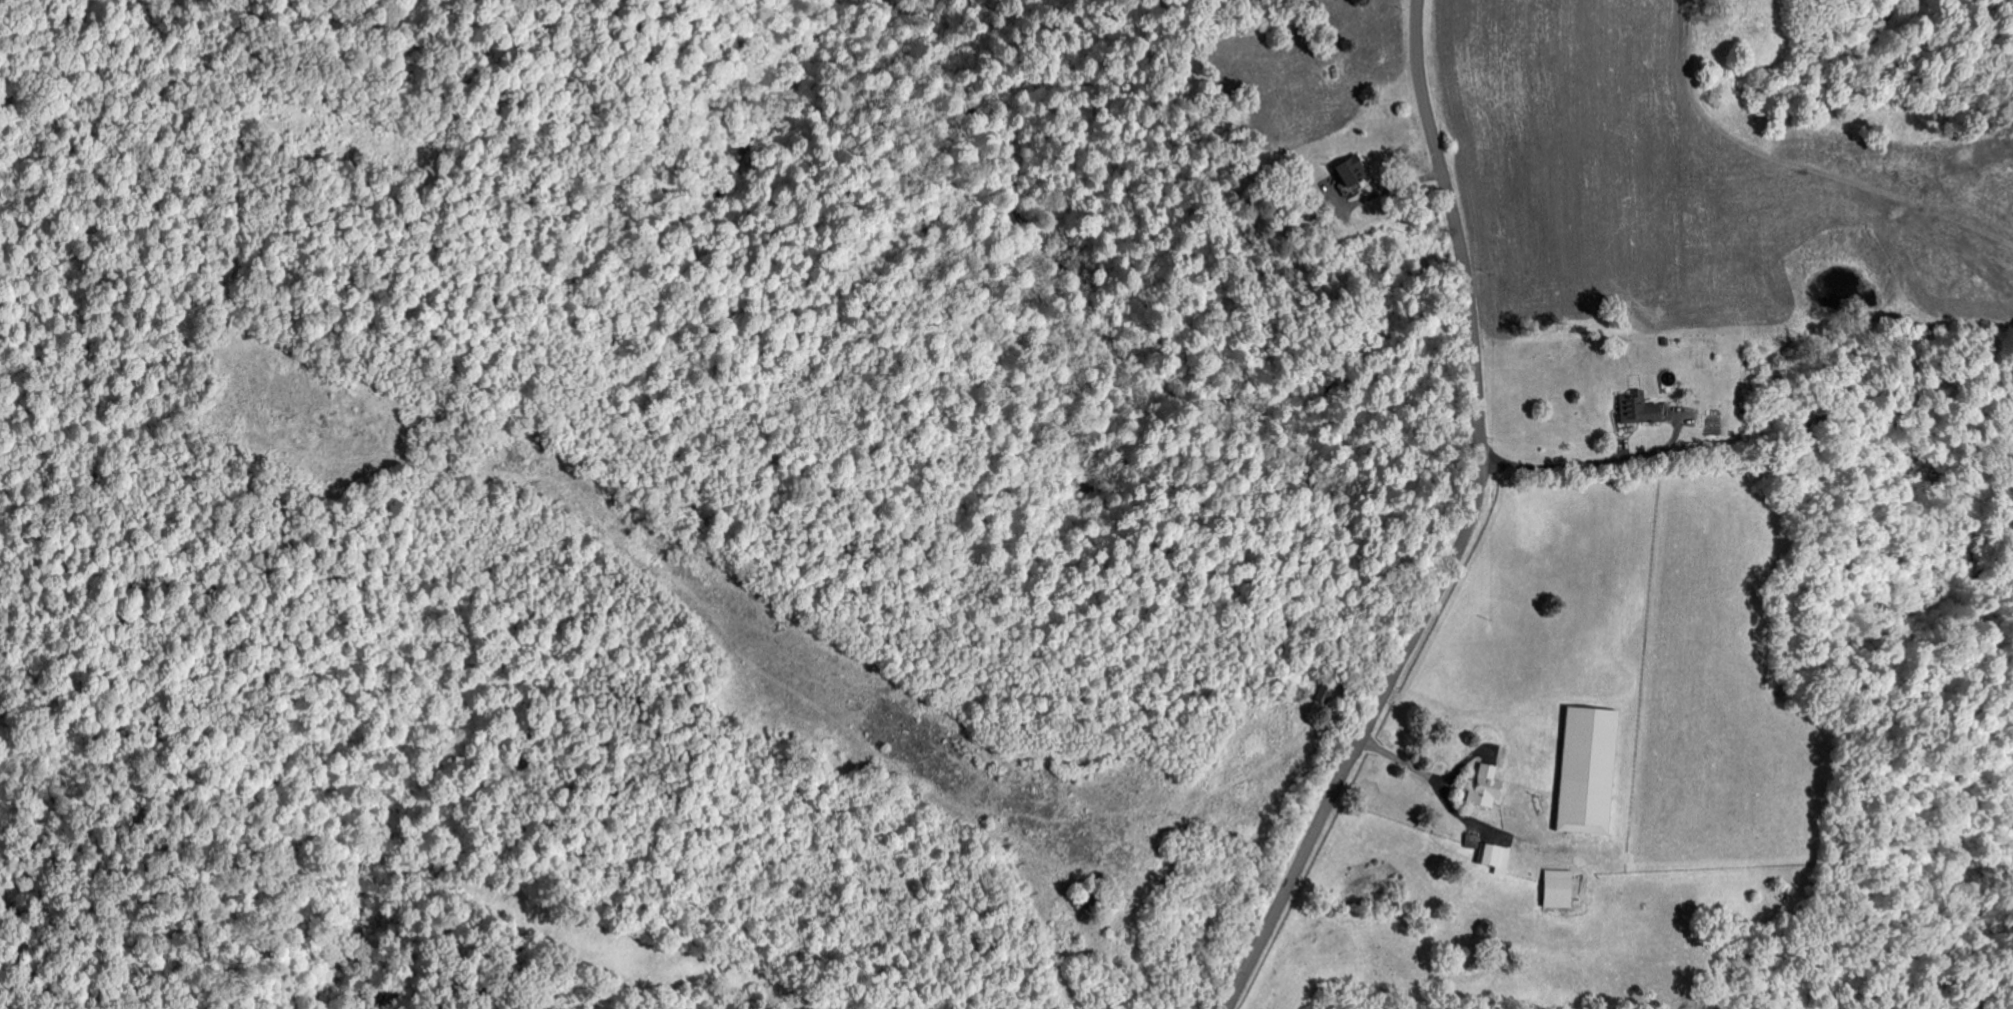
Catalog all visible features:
building: (1341, 172)
road: (1395, 186)
building: (1627, 411)
road: (1592, 461)
road: (1470, 527)
building: (1578, 773)
road: (1426, 776)
building: (1475, 790)
building: (1485, 860)
building: (1549, 891)

